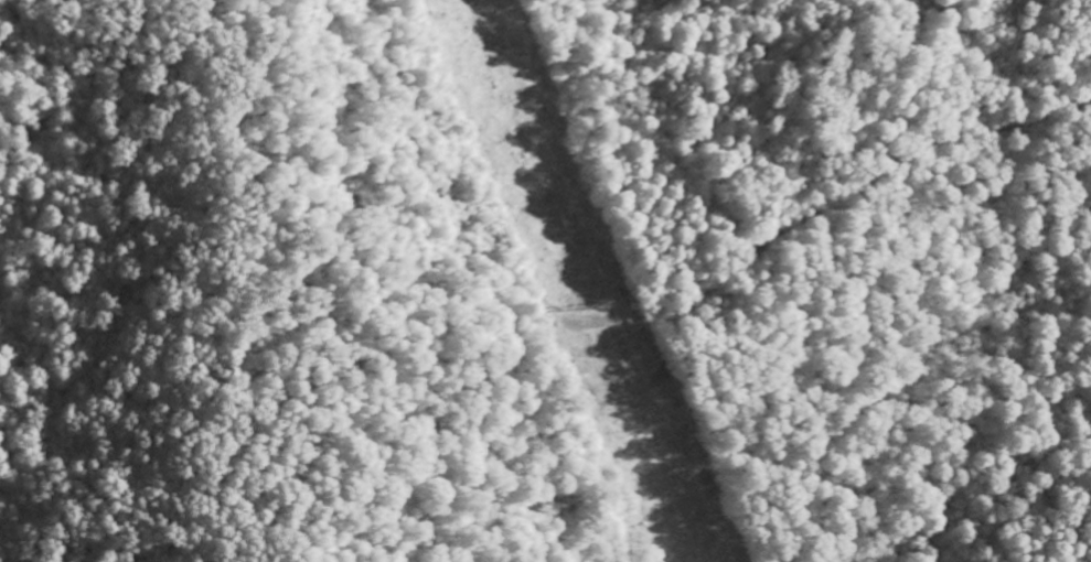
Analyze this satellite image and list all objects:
road: (931, 177)

